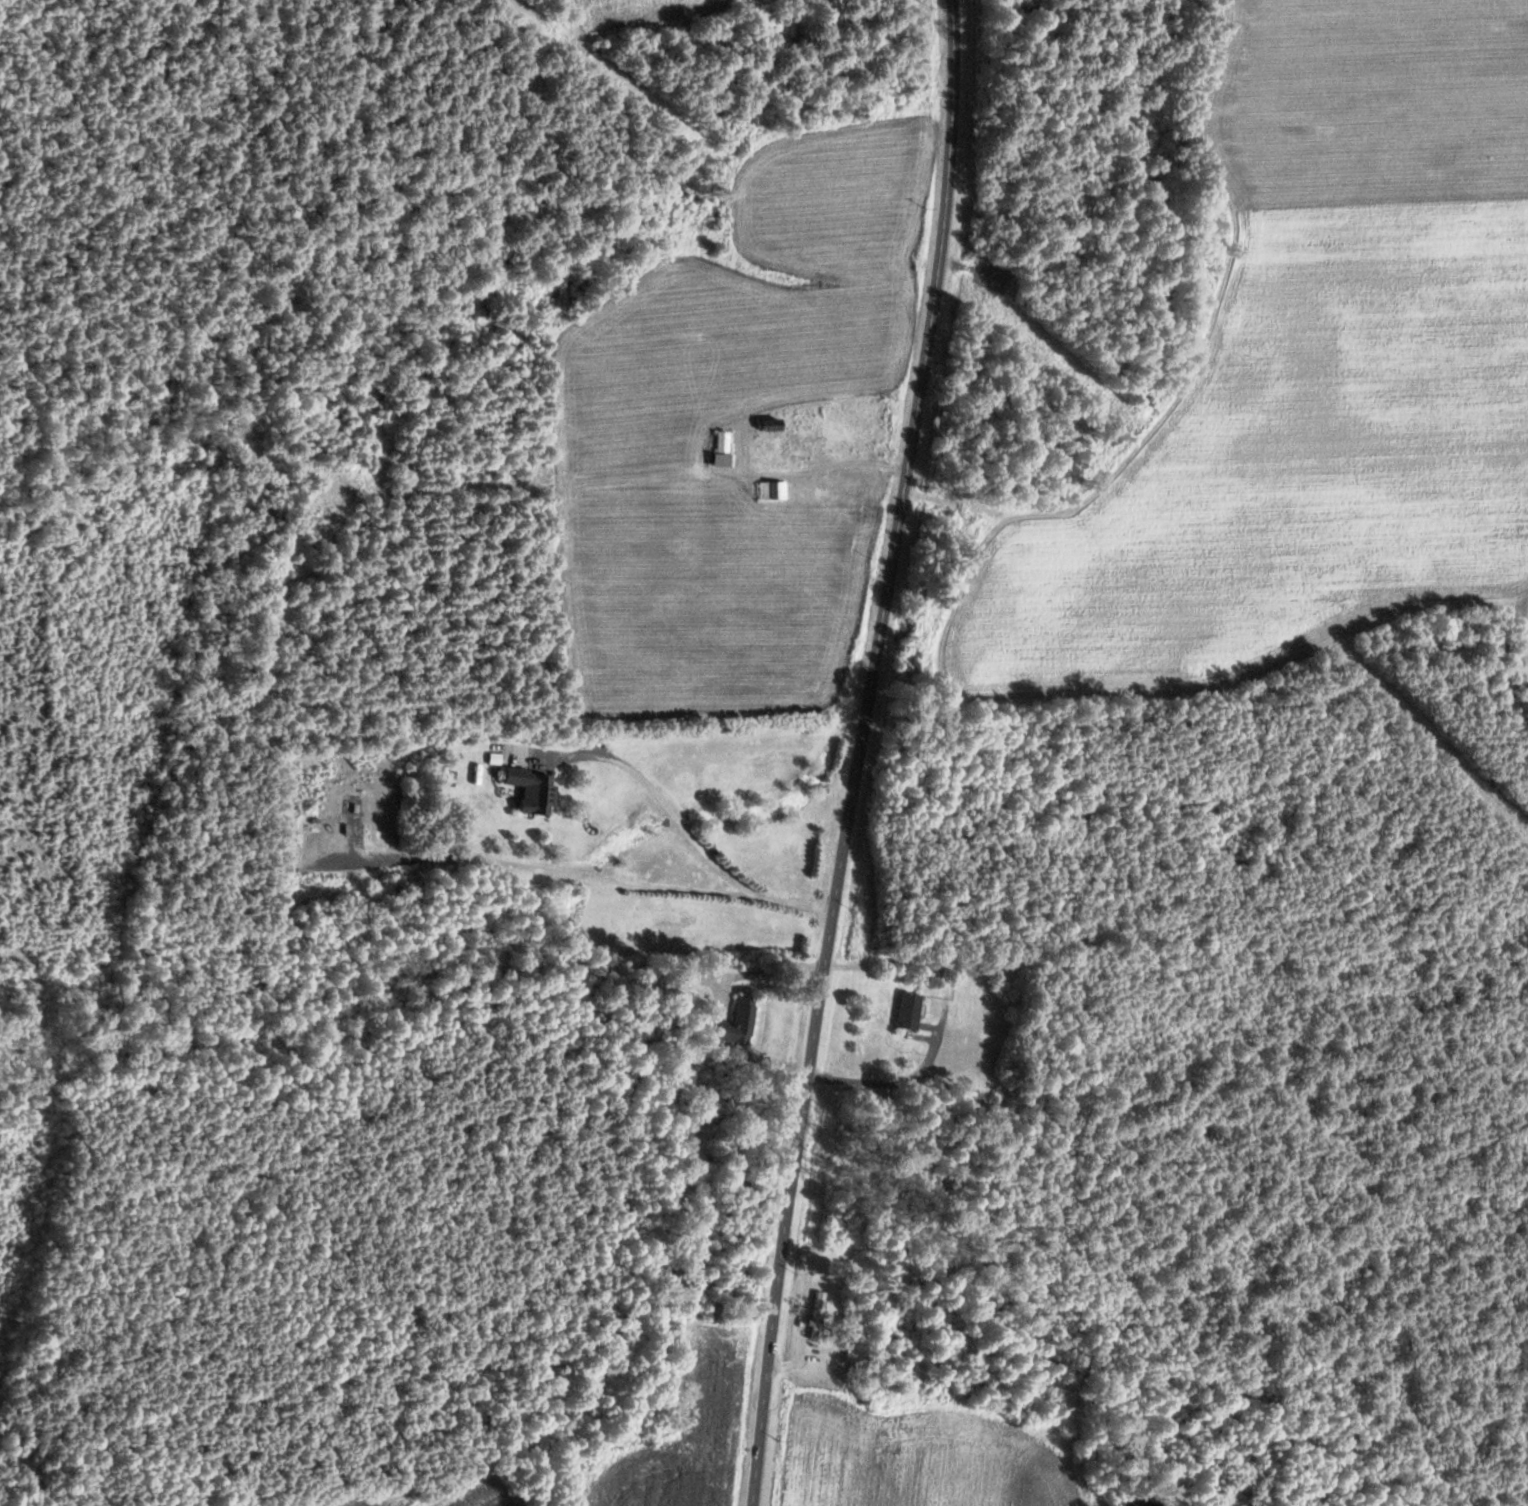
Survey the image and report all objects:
building: (724, 448)
road: (859, 753)
building: (535, 789)
building: (911, 1011)
building: (741, 1023)
building: (974, 1044)

